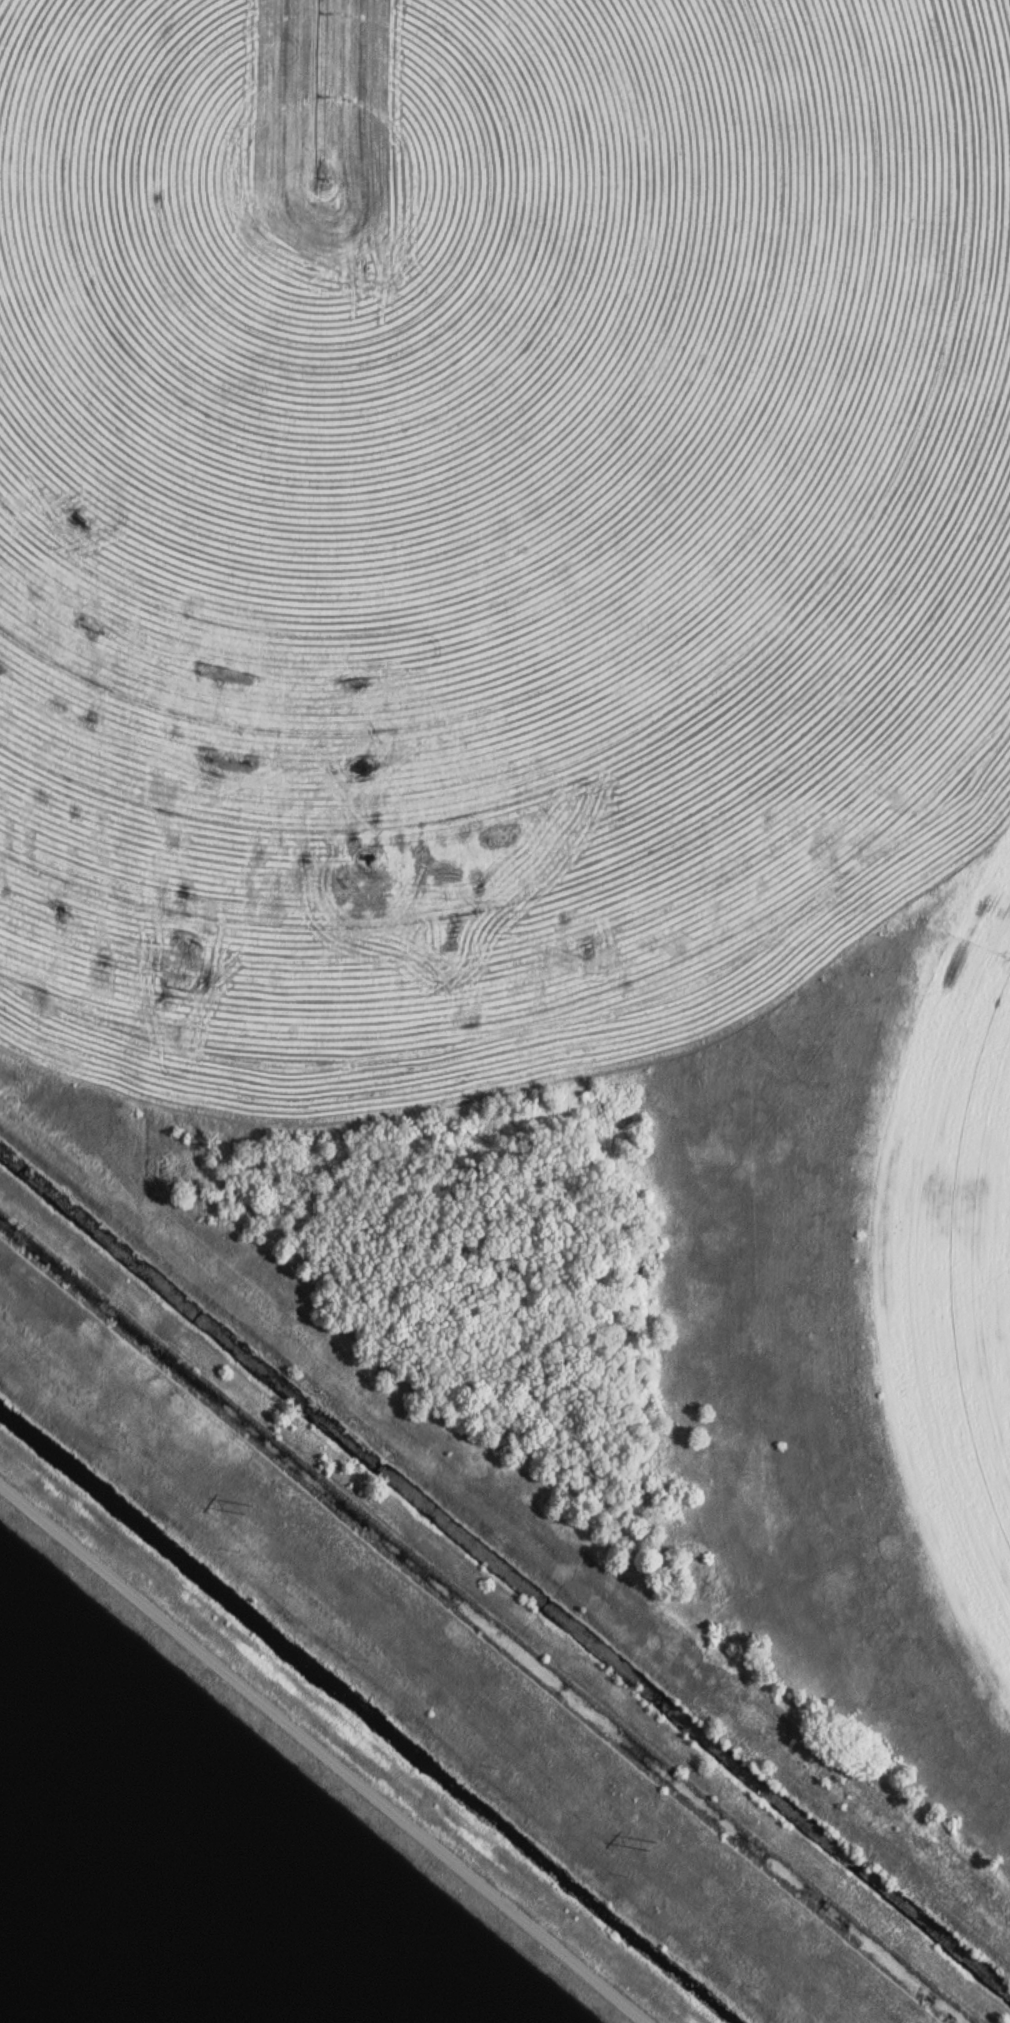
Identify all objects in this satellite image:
wastewater plant: (505, 1011)
power tower: (244, 1507)
road: (324, 1755)
power tower: (646, 1839)

